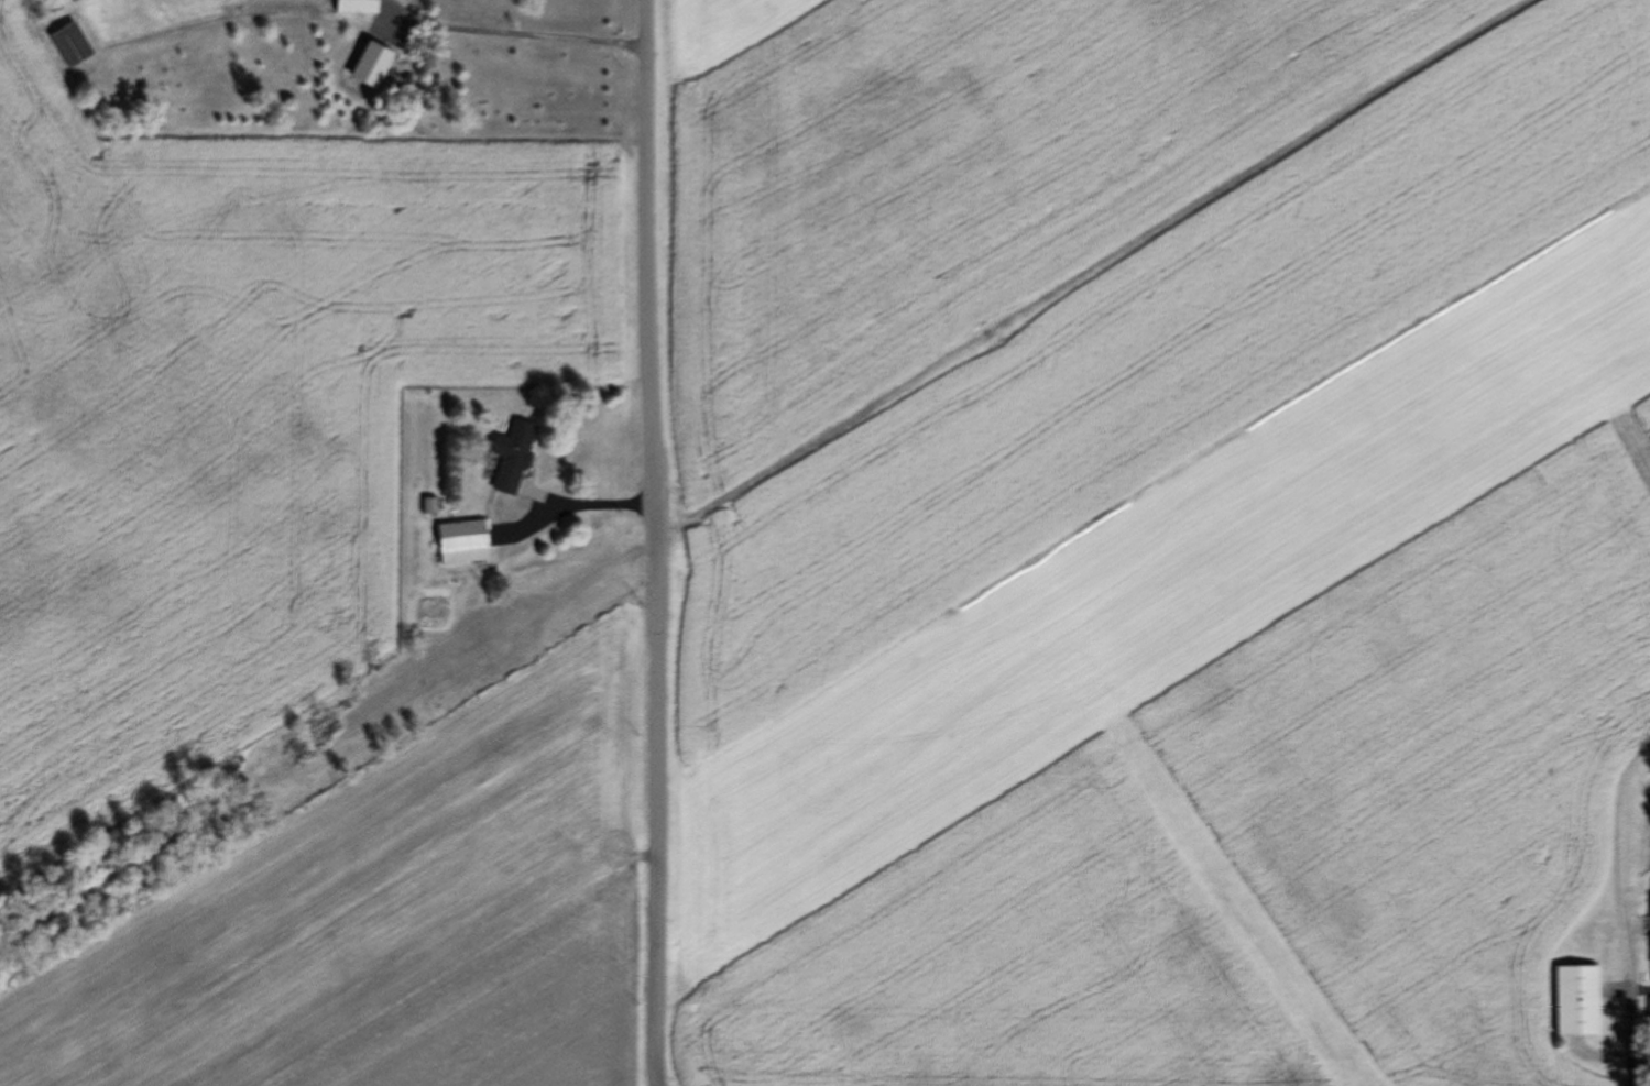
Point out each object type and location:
building: (358, 7)
building: (373, 65)
building: (505, 457)
building: (456, 541)
road: (642, 546)
building: (1647, 924)
building: (1567, 1000)
building: (1648, 1020)

